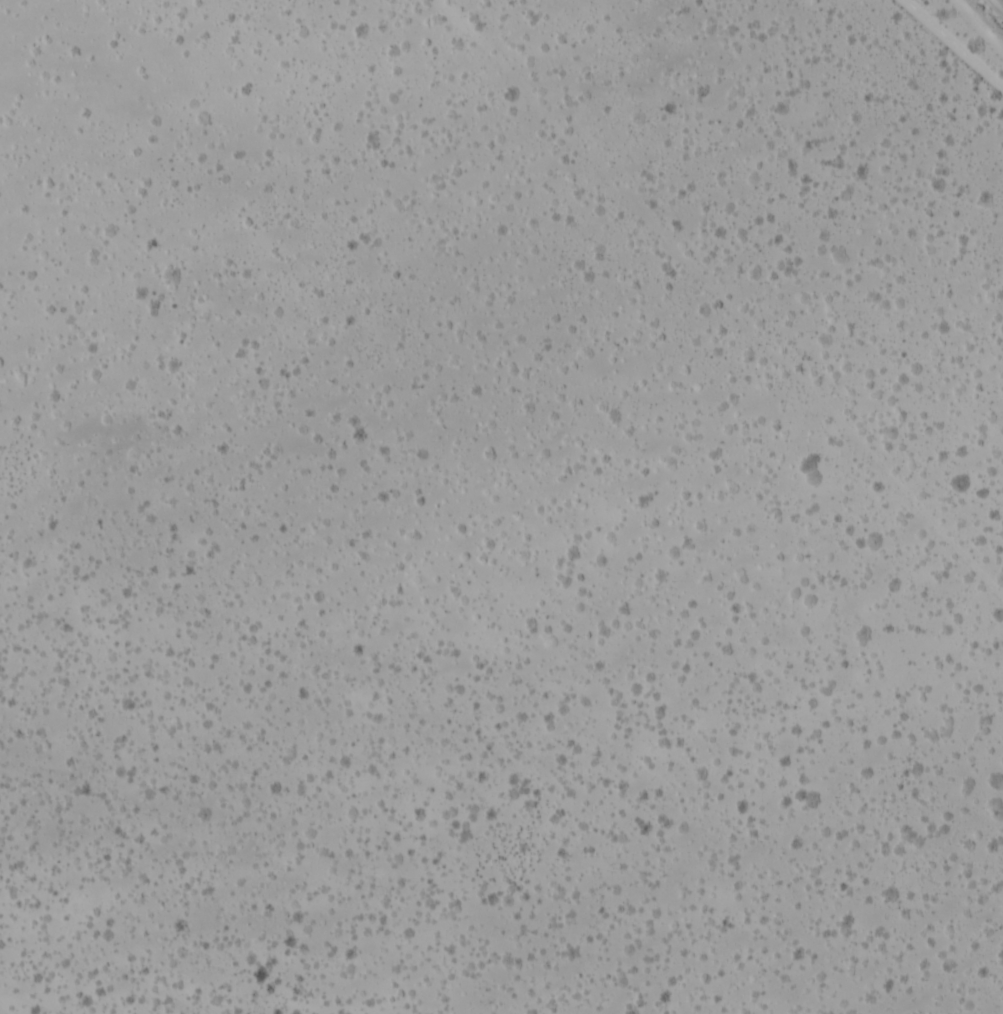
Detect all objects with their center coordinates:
road: (947, 50)

